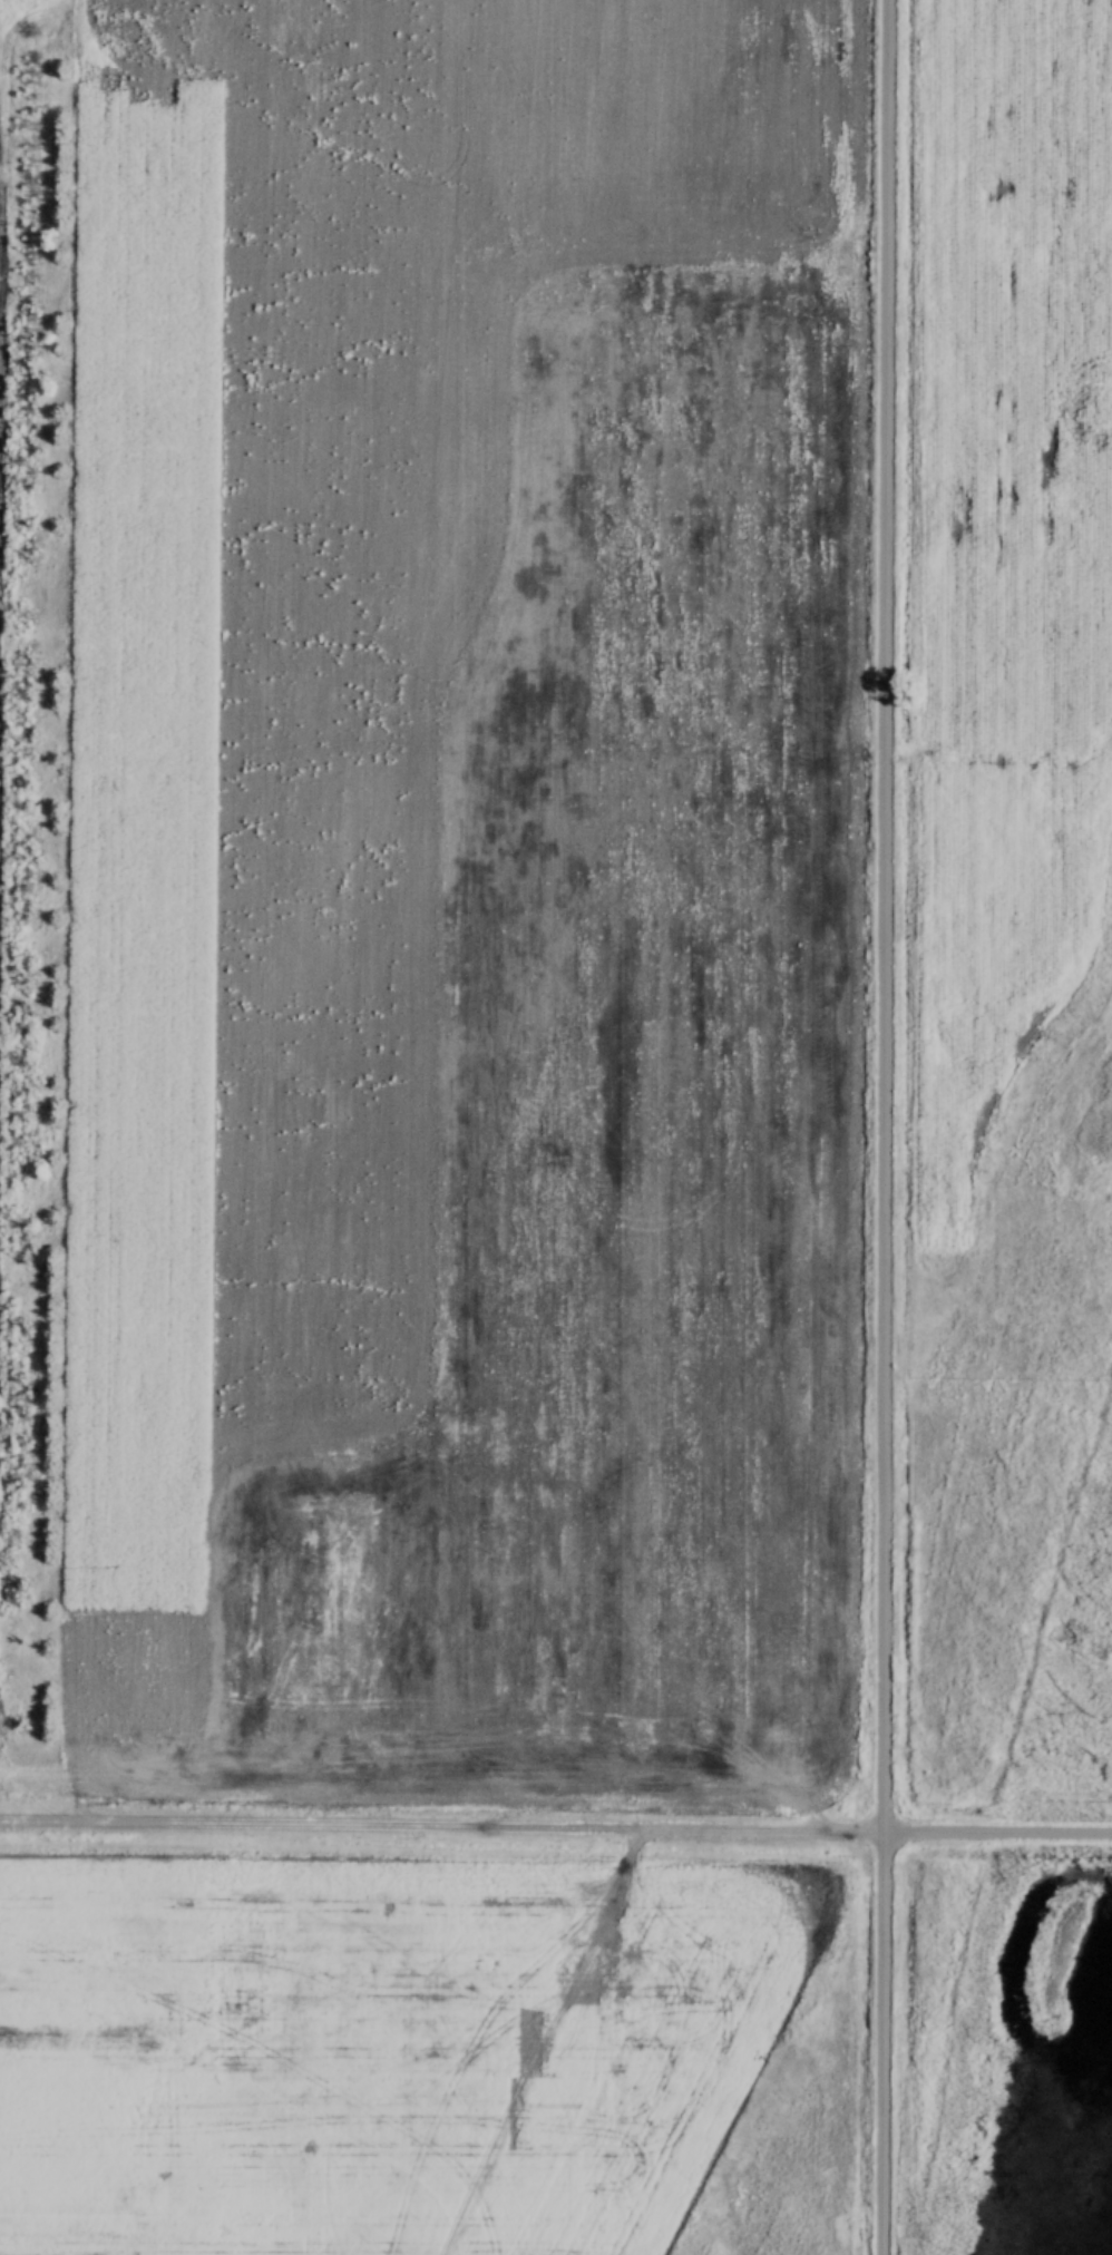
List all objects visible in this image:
road: (886, 1126)
road: (556, 1819)

